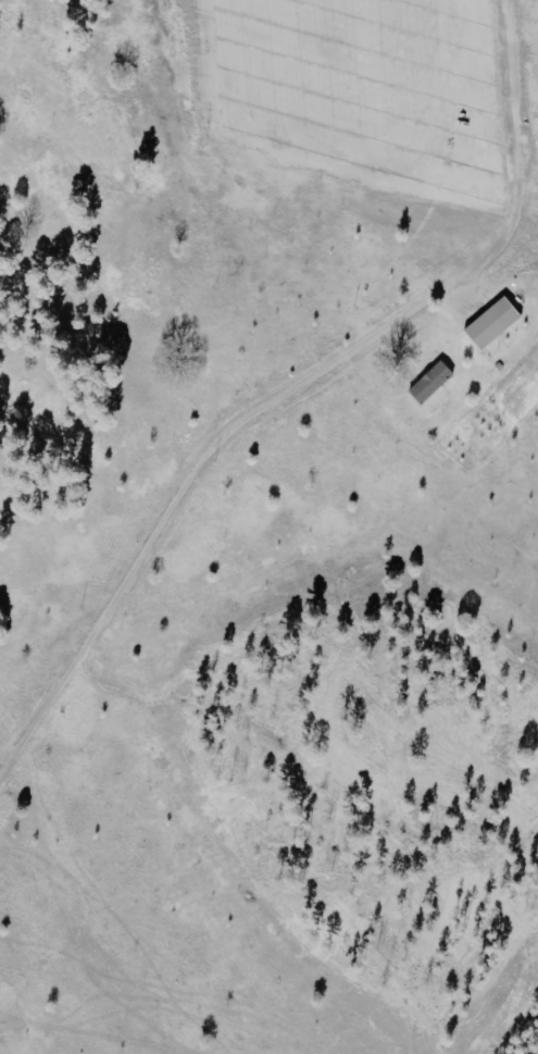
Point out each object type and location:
building: (498, 324)
building: (436, 383)
road: (223, 516)

